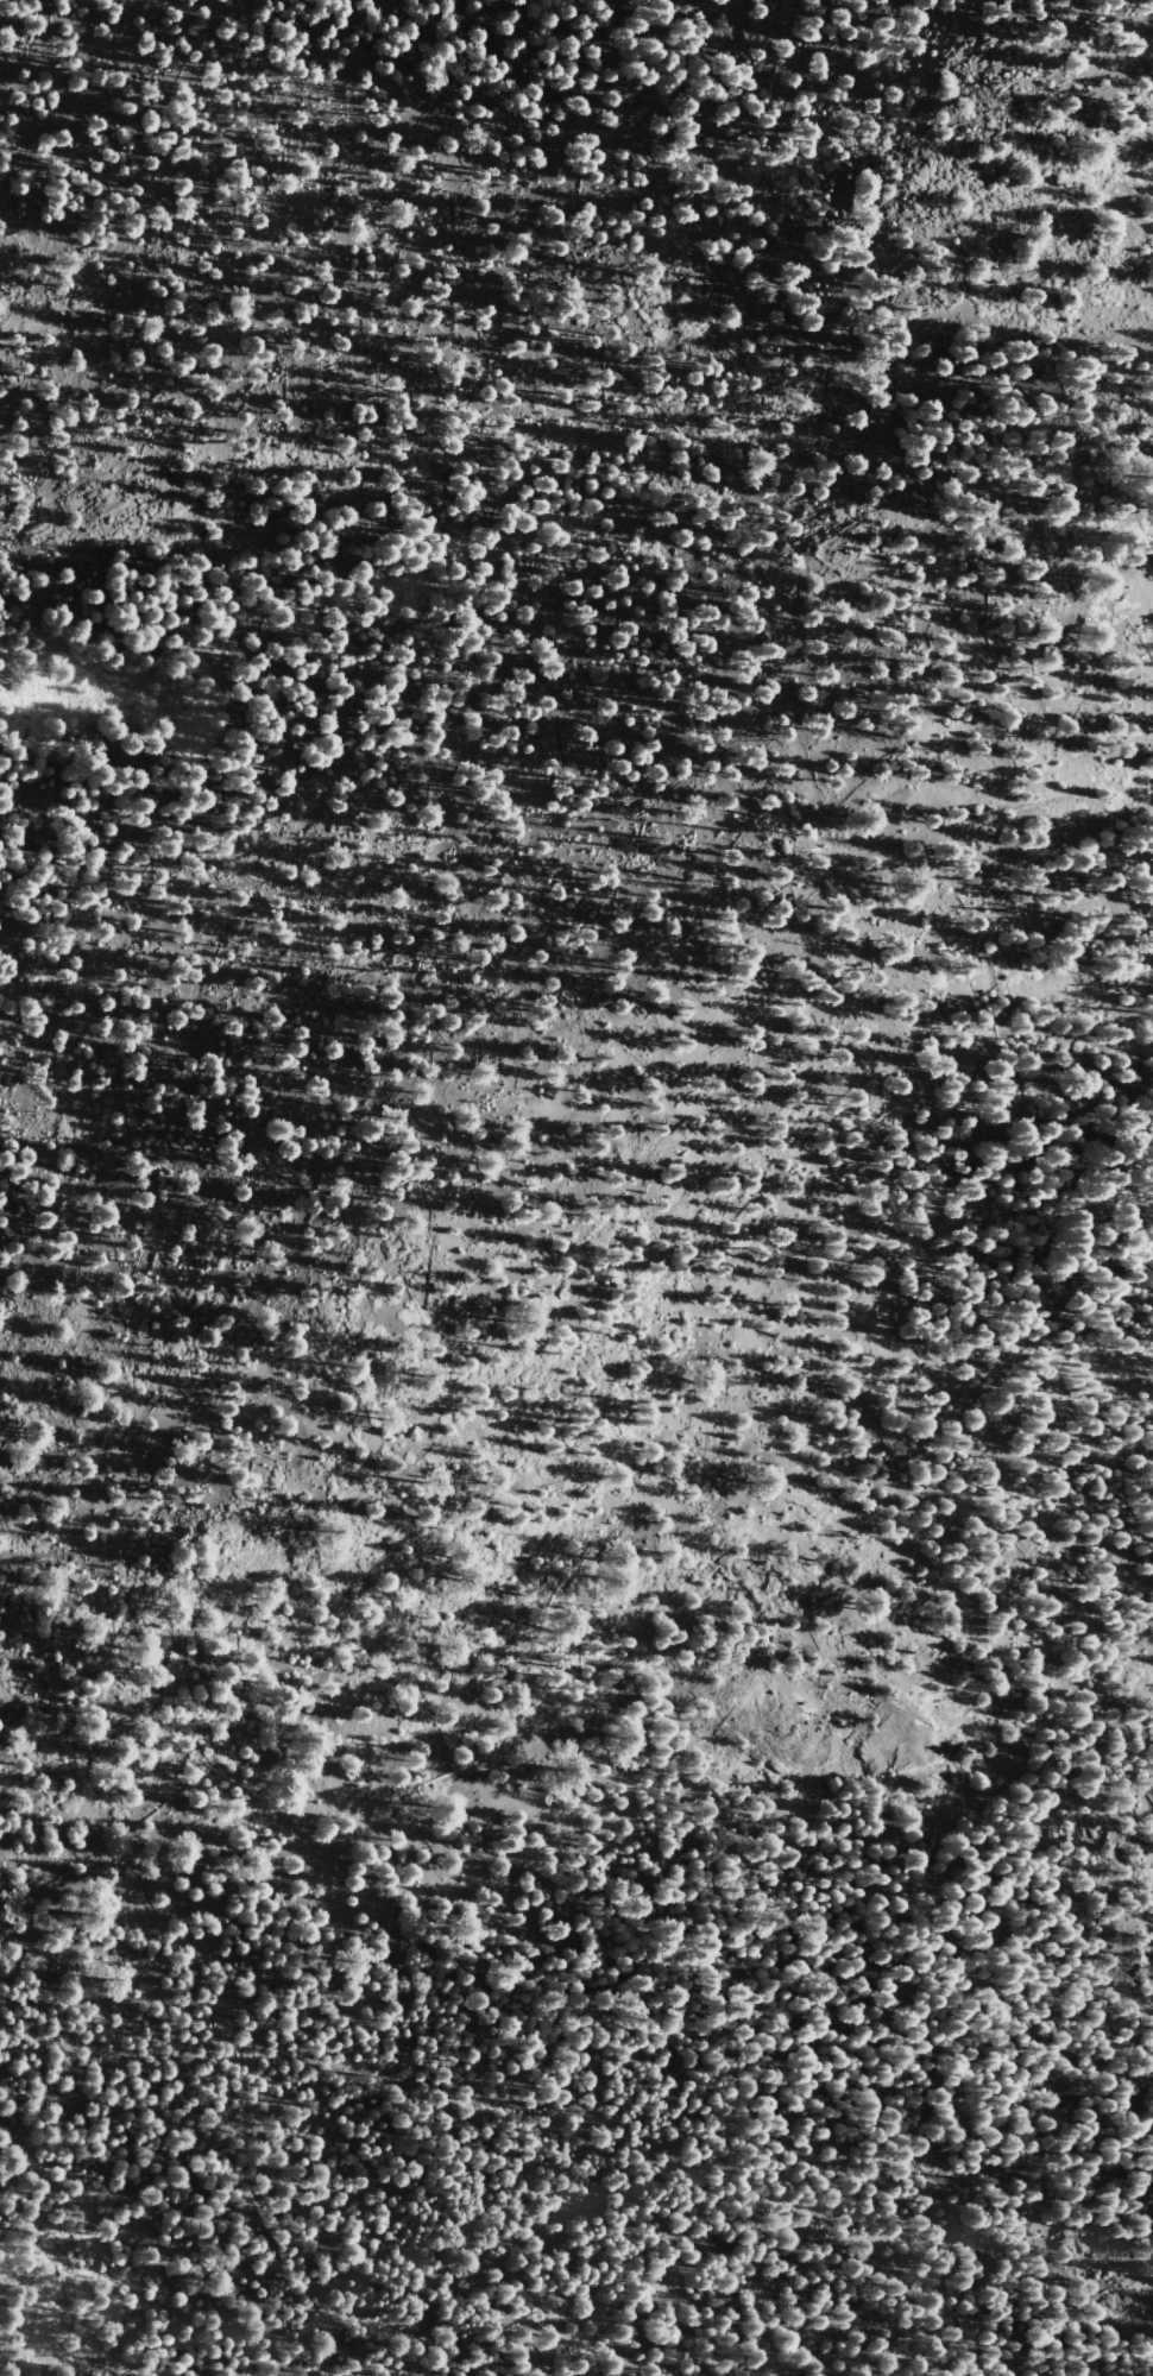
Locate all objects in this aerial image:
road: (1152, 2375)

